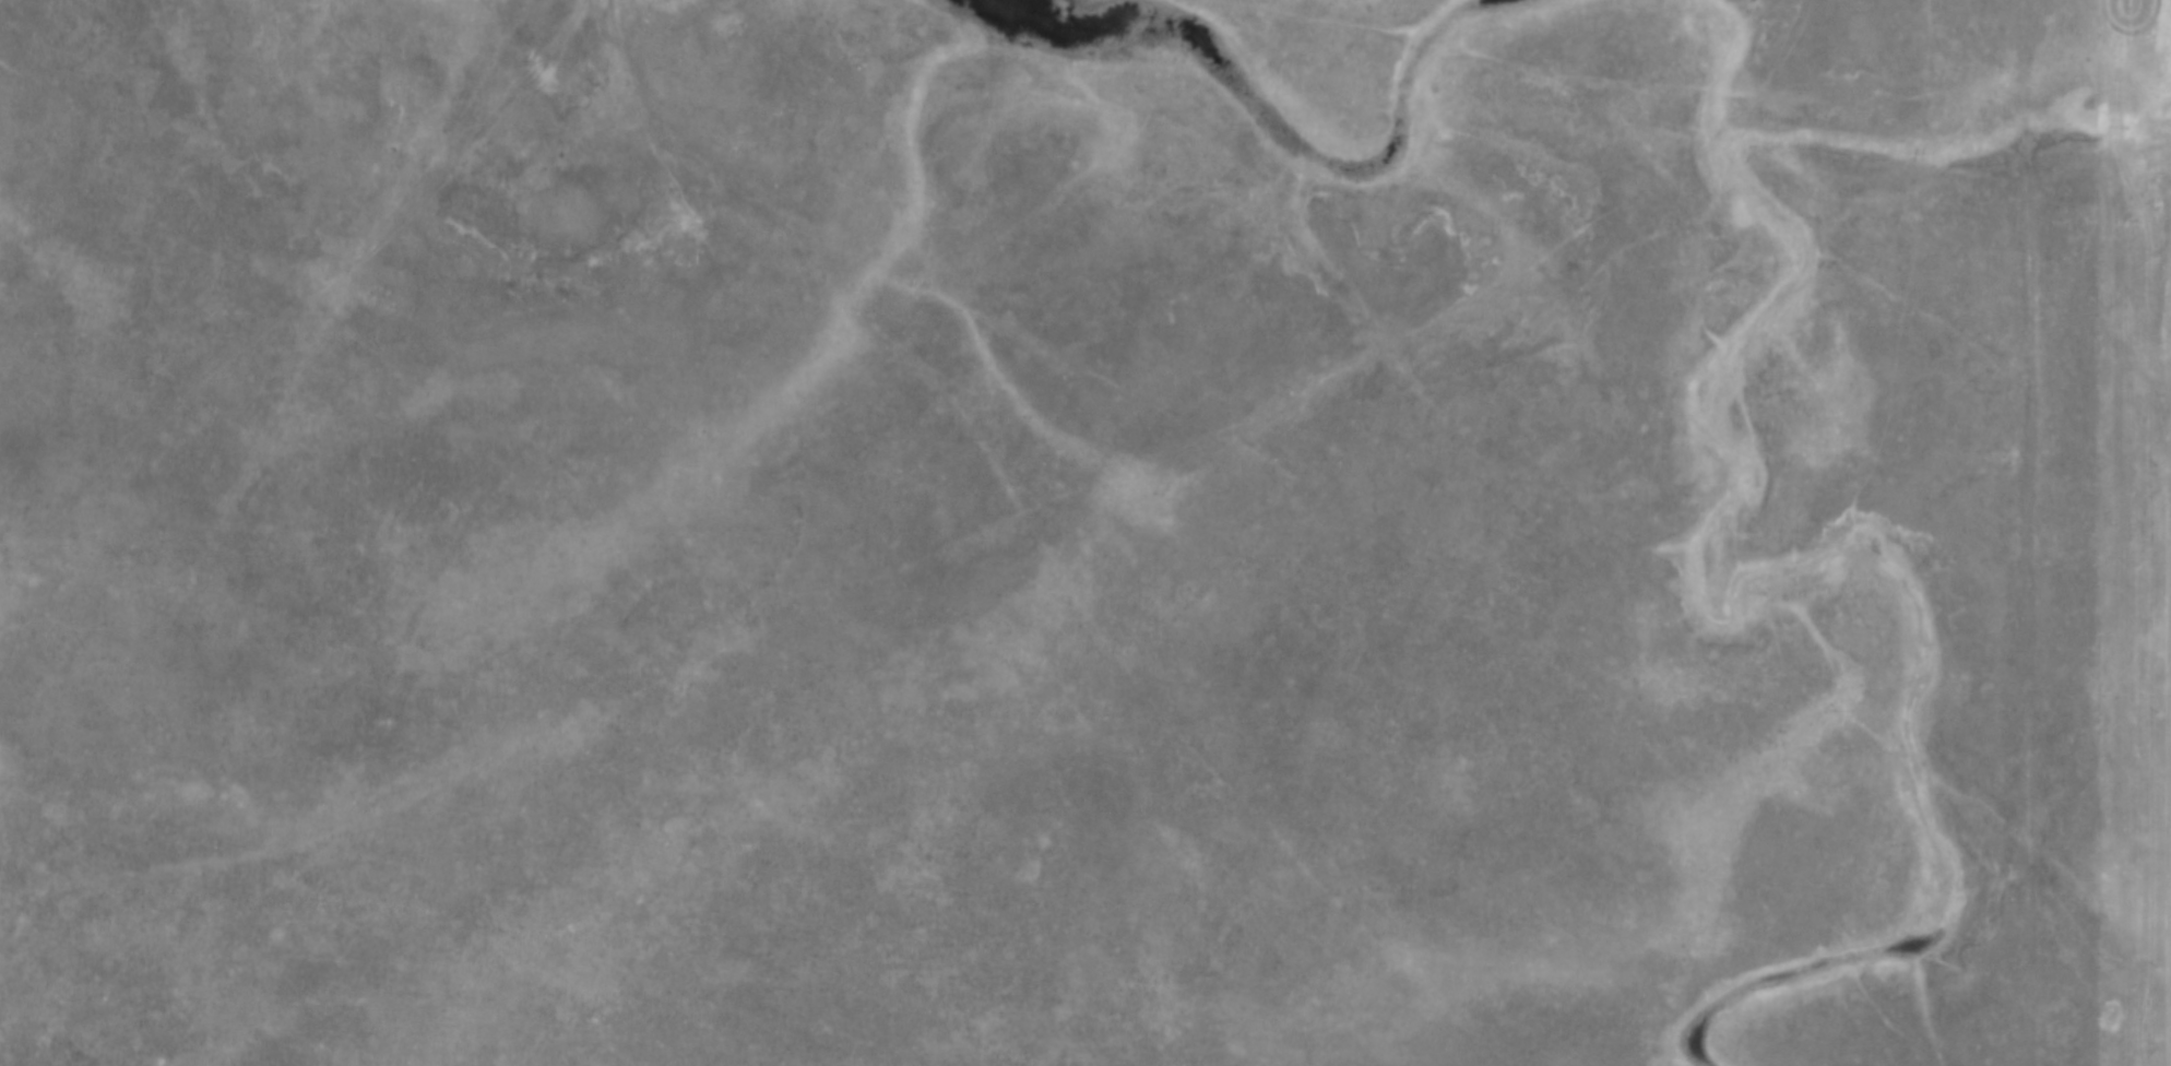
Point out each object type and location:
road: (2130, 532)

